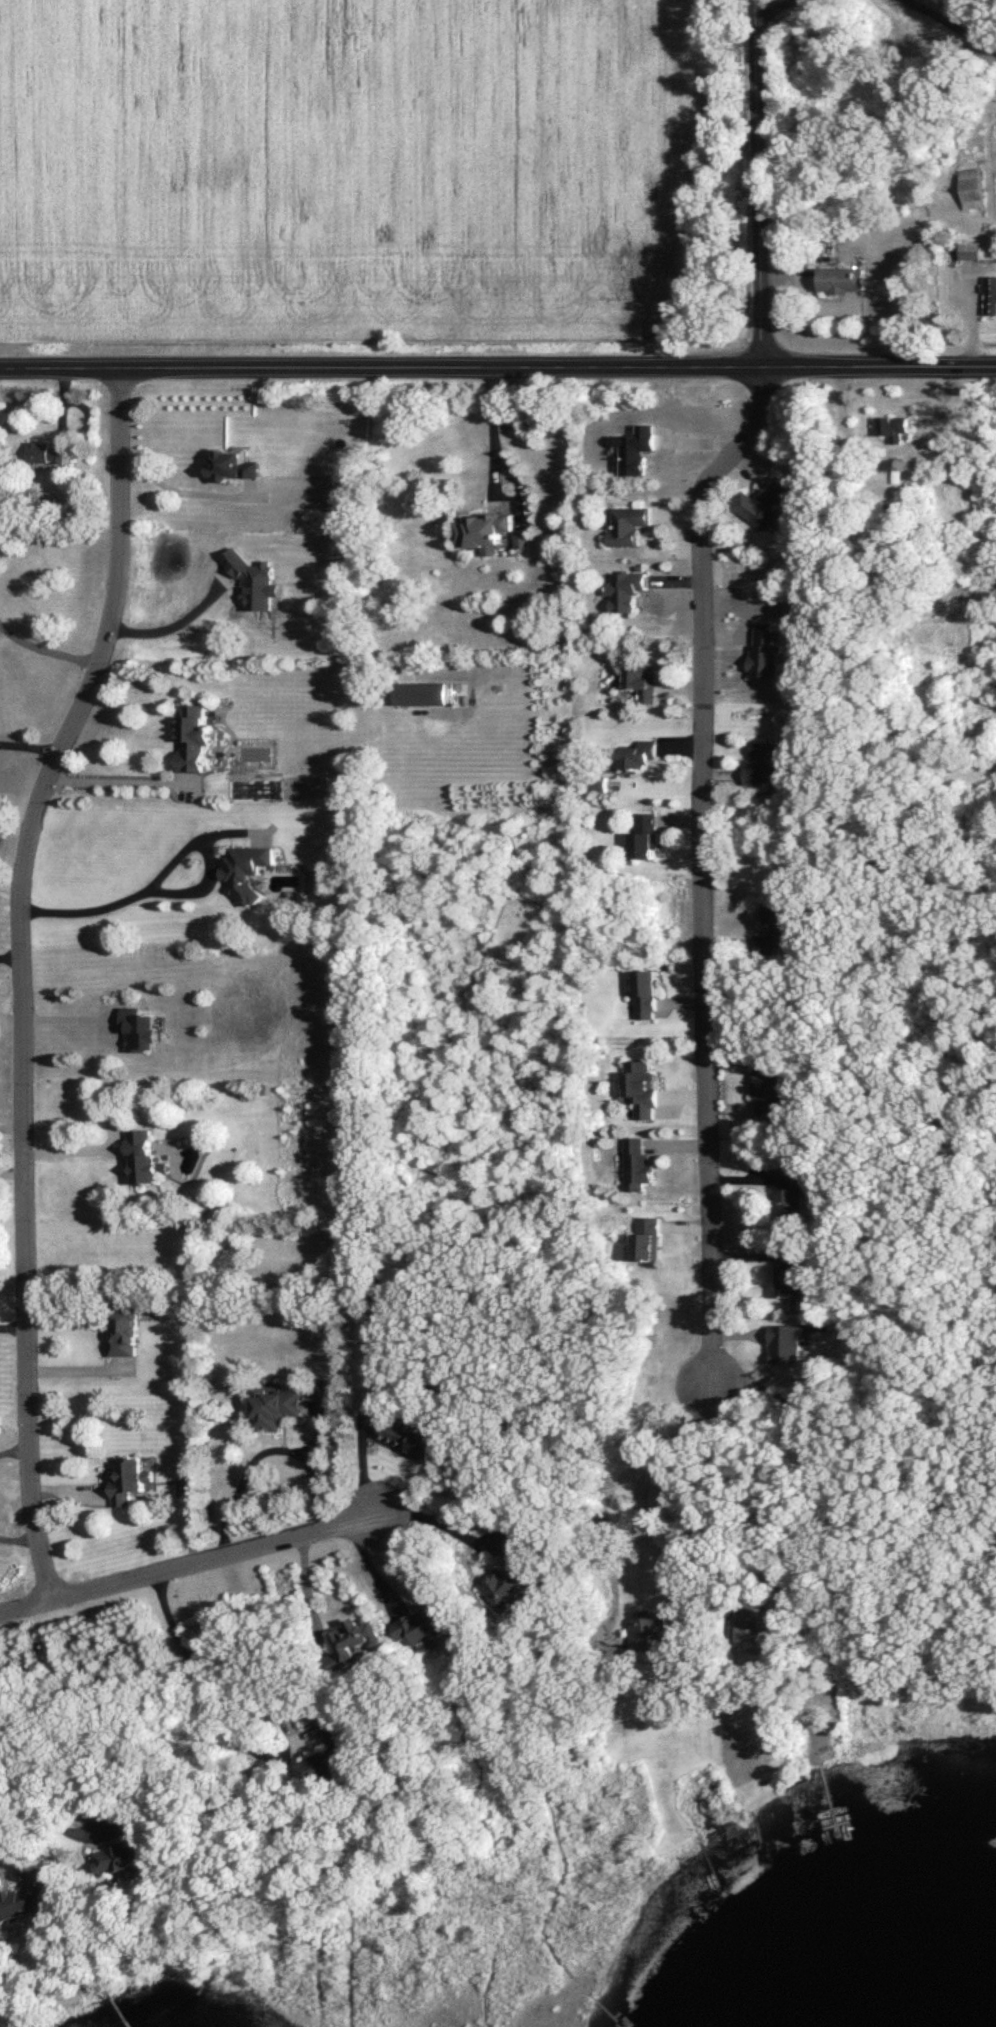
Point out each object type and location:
road: (764, 182)
building: (970, 187)
building: (977, 250)
building: (841, 279)
building: (989, 294)
road: (497, 365)
building: (636, 449)
building: (45, 452)
building: (233, 465)
road: (490, 475)
road: (182, 491)
building: (762, 502)
building: (628, 524)
building: (481, 530)
building: (521, 538)
building: (625, 590)
road: (46, 648)
building: (763, 650)
building: (639, 681)
building: (412, 692)
building: (195, 737)
road: (29, 746)
building: (635, 754)
building: (766, 763)
road: (113, 778)
building: (596, 783)
building: (645, 836)
road: (704, 863)
road: (163, 870)
building: (247, 870)
building: (779, 928)
road: (11, 956)
road: (23, 973)
building: (644, 994)
building: (139, 1029)
building: (638, 1087)
building: (775, 1090)
road: (12, 1125)
road: (78, 1147)
building: (142, 1156)
building: (634, 1164)
road: (13, 1171)
building: (787, 1196)
building: (643, 1238)
building: (400, 1269)
building: (788, 1278)
road: (14, 1326)
building: (124, 1333)
building: (783, 1343)
building: (274, 1407)
road: (685, 1425)
building: (409, 1437)
road: (15, 1450)
road: (265, 1454)
building: (128, 1480)
building: (184, 1486)
road: (708, 1512)
road: (441, 1523)
road: (648, 1523)
road: (18, 1537)
road: (193, 1559)
road: (371, 1566)
building: (512, 1572)
road: (314, 1580)
building: (423, 1623)
building: (649, 1629)
building: (351, 1642)
road: (202, 1683)
building: (323, 1756)
road: (31, 1793)
building: (123, 1849)
building: (25, 1895)

